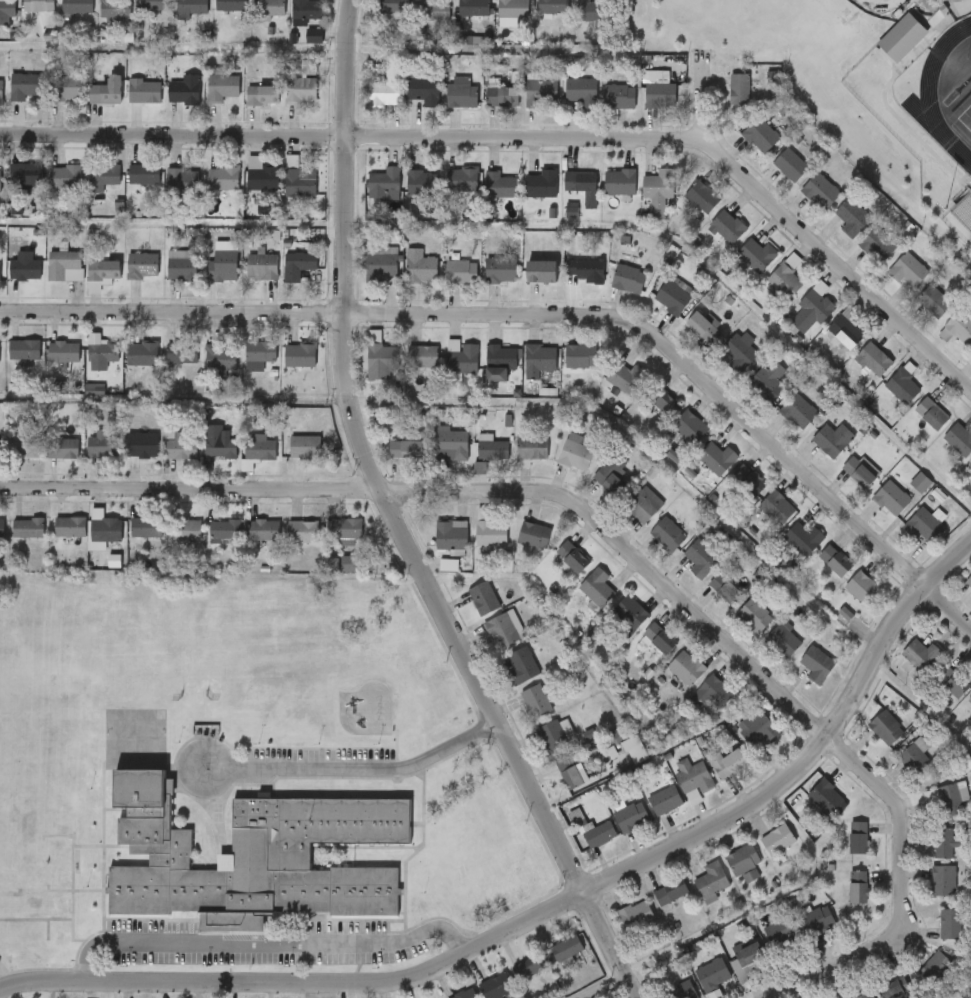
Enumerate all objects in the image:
road: (882, 3)
building: (153, 5)
building: (231, 5)
building: (37, 6)
building: (77, 6)
building: (394, 6)
building: (192, 7)
building: (553, 7)
building: (7, 8)
building: (115, 8)
building: (269, 8)
building: (473, 8)
building: (306, 9)
building: (513, 9)
building: (434, 10)
building: (589, 11)
building: (135, 14)
building: (214, 15)
building: (60, 16)
building: (377, 16)
building: (173, 17)
building: (252, 17)
building: (536, 17)
building: (98, 19)
building: (456, 19)
building: (497, 20)
building: (288, 21)
building: (417, 22)
building: (570, 22)
building: (901, 37)
building: (297, 49)
building: (386, 85)
building: (26, 86)
building: (222, 87)
building: (64, 88)
building: (424, 88)
building: (738, 89)
building: (301, 90)
building: (1, 91)
building: (107, 91)
building: (145, 91)
building: (581, 91)
building: (184, 92)
building: (541, 93)
building: (462, 94)
building: (263, 95)
building: (502, 96)
building: (659, 96)
building: (619, 97)
building: (285, 98)
building: (369, 98)
building: (52, 100)
building: (206, 101)
building: (407, 102)
building: (723, 102)
building: (168, 103)
building: (643, 103)
building: (90, 105)
building: (127, 105)
building: (525, 105)
building: (565, 105)
building: (445, 106)
building: (245, 108)
building: (484, 109)
building: (603, 110)
park: (963, 120)
road: (351, 136)
building: (759, 136)
building: (743, 149)
building: (789, 166)
building: (105, 174)
building: (145, 174)
building: (27, 175)
building: (67, 176)
building: (224, 178)
building: (263, 178)
building: (771, 178)
building: (298, 179)
building: (0, 180)
building: (183, 181)
building: (462, 181)
building: (619, 182)
building: (384, 183)
building: (421, 184)
building: (541, 184)
building: (659, 184)
building: (499, 185)
building: (582, 186)
building: (127, 187)
building: (48, 190)
building: (85, 190)
building: (246, 191)
building: (206, 192)
building: (819, 192)
building: (447, 193)
building: (166, 194)
building: (603, 195)
building: (283, 196)
building: (405, 196)
building: (368, 197)
building: (525, 197)
building: (482, 198)
building: (701, 198)
building: (566, 199)
building: (641, 204)
building: (684, 211)
building: (851, 217)
building: (726, 228)
building: (710, 240)
building: (877, 245)
building: (756, 256)
building: (542, 263)
building: (299, 264)
building: (379, 264)
building: (66, 265)
building: (143, 265)
building: (183, 265)
building: (223, 265)
road: (837, 266)
building: (263, 267)
building: (420, 268)
building: (739, 268)
building: (26, 269)
building: (104, 270)
building: (0, 271)
building: (905, 271)
building: (500, 272)
building: (583, 272)
building: (460, 274)
building: (207, 276)
building: (364, 276)
building: (126, 278)
building: (280, 278)
building: (48, 279)
building: (165, 279)
building: (245, 279)
building: (628, 279)
building: (785, 279)
building: (402, 280)
building: (482, 283)
building: (524, 285)
building: (446, 286)
building: (85, 287)
building: (611, 292)
building: (671, 298)
building: (934, 303)
building: (811, 310)
building: (655, 311)
road: (544, 313)
building: (702, 327)
building: (957, 328)
building: (844, 333)
building: (686, 339)
building: (25, 350)
building: (65, 352)
building: (102, 352)
building: (738, 352)
building: (0, 353)
building: (143, 353)
building: (183, 353)
building: (260, 355)
building: (301, 355)
building: (580, 356)
building: (221, 357)
building: (380, 358)
building: (422, 358)
building: (463, 360)
building: (538, 361)
building: (873, 361)
building: (969, 362)
building: (499, 363)
building: (723, 363)
building: (10, 365)
building: (47, 365)
building: (84, 365)
building: (125, 366)
building: (165, 366)
building: (242, 368)
building: (284, 368)
building: (406, 369)
building: (563, 369)
building: (445, 370)
building: (204, 371)
building: (362, 371)
building: (522, 373)
building: (483, 375)
building: (626, 379)
building: (769, 381)
building: (902, 387)
building: (608, 391)
road: (174, 402)
building: (799, 413)
building: (931, 414)
building: (648, 415)
building: (689, 428)
building: (673, 440)
building: (832, 440)
building: (958, 441)
building: (143, 444)
building: (103, 445)
building: (182, 445)
building: (220, 445)
building: (306, 446)
building: (451, 446)
building: (25, 447)
building: (64, 447)
building: (260, 447)
building: (406, 450)
building: (530, 450)
building: (492, 451)
building: (574, 456)
building: (434, 457)
building: (85, 458)
building: (125, 458)
building: (203, 459)
building: (716, 459)
building: (10, 460)
building: (287, 460)
building: (46, 461)
building: (475, 461)
building: (164, 462)
building: (388, 462)
building: (514, 463)
building: (240, 464)
building: (970, 464)
building: (557, 468)
building: (656, 469)
building: (969, 470)
building: (858, 473)
building: (699, 474)
building: (921, 479)
building: (462, 481)
building: (610, 481)
building: (748, 481)
building: (594, 488)
building: (891, 499)
building: (642, 505)
building: (776, 509)
building: (627, 518)
road: (394, 522)
building: (147, 526)
building: (922, 526)
building: (2, 527)
building: (29, 527)
building: (71, 527)
building: (186, 528)
building: (344, 528)
building: (226, 530)
building: (266, 530)
building: (304, 531)
building: (490, 531)
building: (103, 532)
building: (451, 536)
building: (533, 536)
building: (667, 536)
building: (53, 540)
building: (129, 540)
building: (801, 540)
building: (13, 541)
building: (86, 542)
building: (168, 542)
building: (207, 543)
building: (247, 543)
building: (286, 544)
building: (329, 544)
building: (471, 546)
building: (651, 547)
building: (517, 548)
road: (623, 548)
building: (435, 550)
building: (573, 558)
building: (700, 559)
building: (836, 562)
building: (352, 563)
building: (555, 570)
building: (684, 572)
building: (97, 576)
building: (314, 576)
building: (332, 576)
building: (432, 578)
building: (968, 581)
building: (597, 588)
building: (862, 588)
building: (725, 590)
building: (699, 595)
building: (483, 599)
building: (580, 600)
building: (466, 611)
building: (754, 616)
building: (626, 618)
building: (501, 630)
building: (660, 639)
building: (486, 641)
building: (783, 641)
building: (642, 651)
building: (921, 655)
building: (816, 665)
building: (521, 666)
building: (686, 668)
building: (505, 678)
building: (669, 681)
building: (950, 683)
building: (709, 694)
building: (969, 700)
building: (535, 703)
building: (518, 714)
building: (886, 728)
building: (759, 730)
building: (615, 737)
building: (553, 738)
building: (538, 748)
building: (596, 750)
building: (915, 759)
building: (617, 762)
building: (727, 764)
road: (354, 769)
building: (569, 774)
building: (691, 776)
building: (554, 786)
building: (677, 792)
building: (825, 797)
building: (951, 800)
building: (664, 801)
building: (648, 813)
building: (631, 817)
building: (614, 829)
building: (42, 830)
building: (599, 835)
building: (859, 838)
building: (778, 840)
building: (942, 842)
building: (582, 847)
building: (252, 857)
building: (42, 859)
building: (744, 862)
building: (712, 880)
building: (943, 881)
building: (859, 887)
building: (42, 888)
building: (672, 893)
building: (655, 904)
road: (552, 909)
building: (637, 915)
building: (17, 917)
building: (42, 918)
building: (817, 920)
building: (951, 924)
building: (619, 927)
building: (782, 932)
road: (264, 937)
building: (42, 946)
building: (566, 948)
building: (548, 961)
building: (747, 961)
building: (530, 967)
building: (935, 968)
building: (713, 975)
building: (497, 986)
building: (894, 988)
building: (681, 990)
building: (479, 993)
building: (865, 995)

